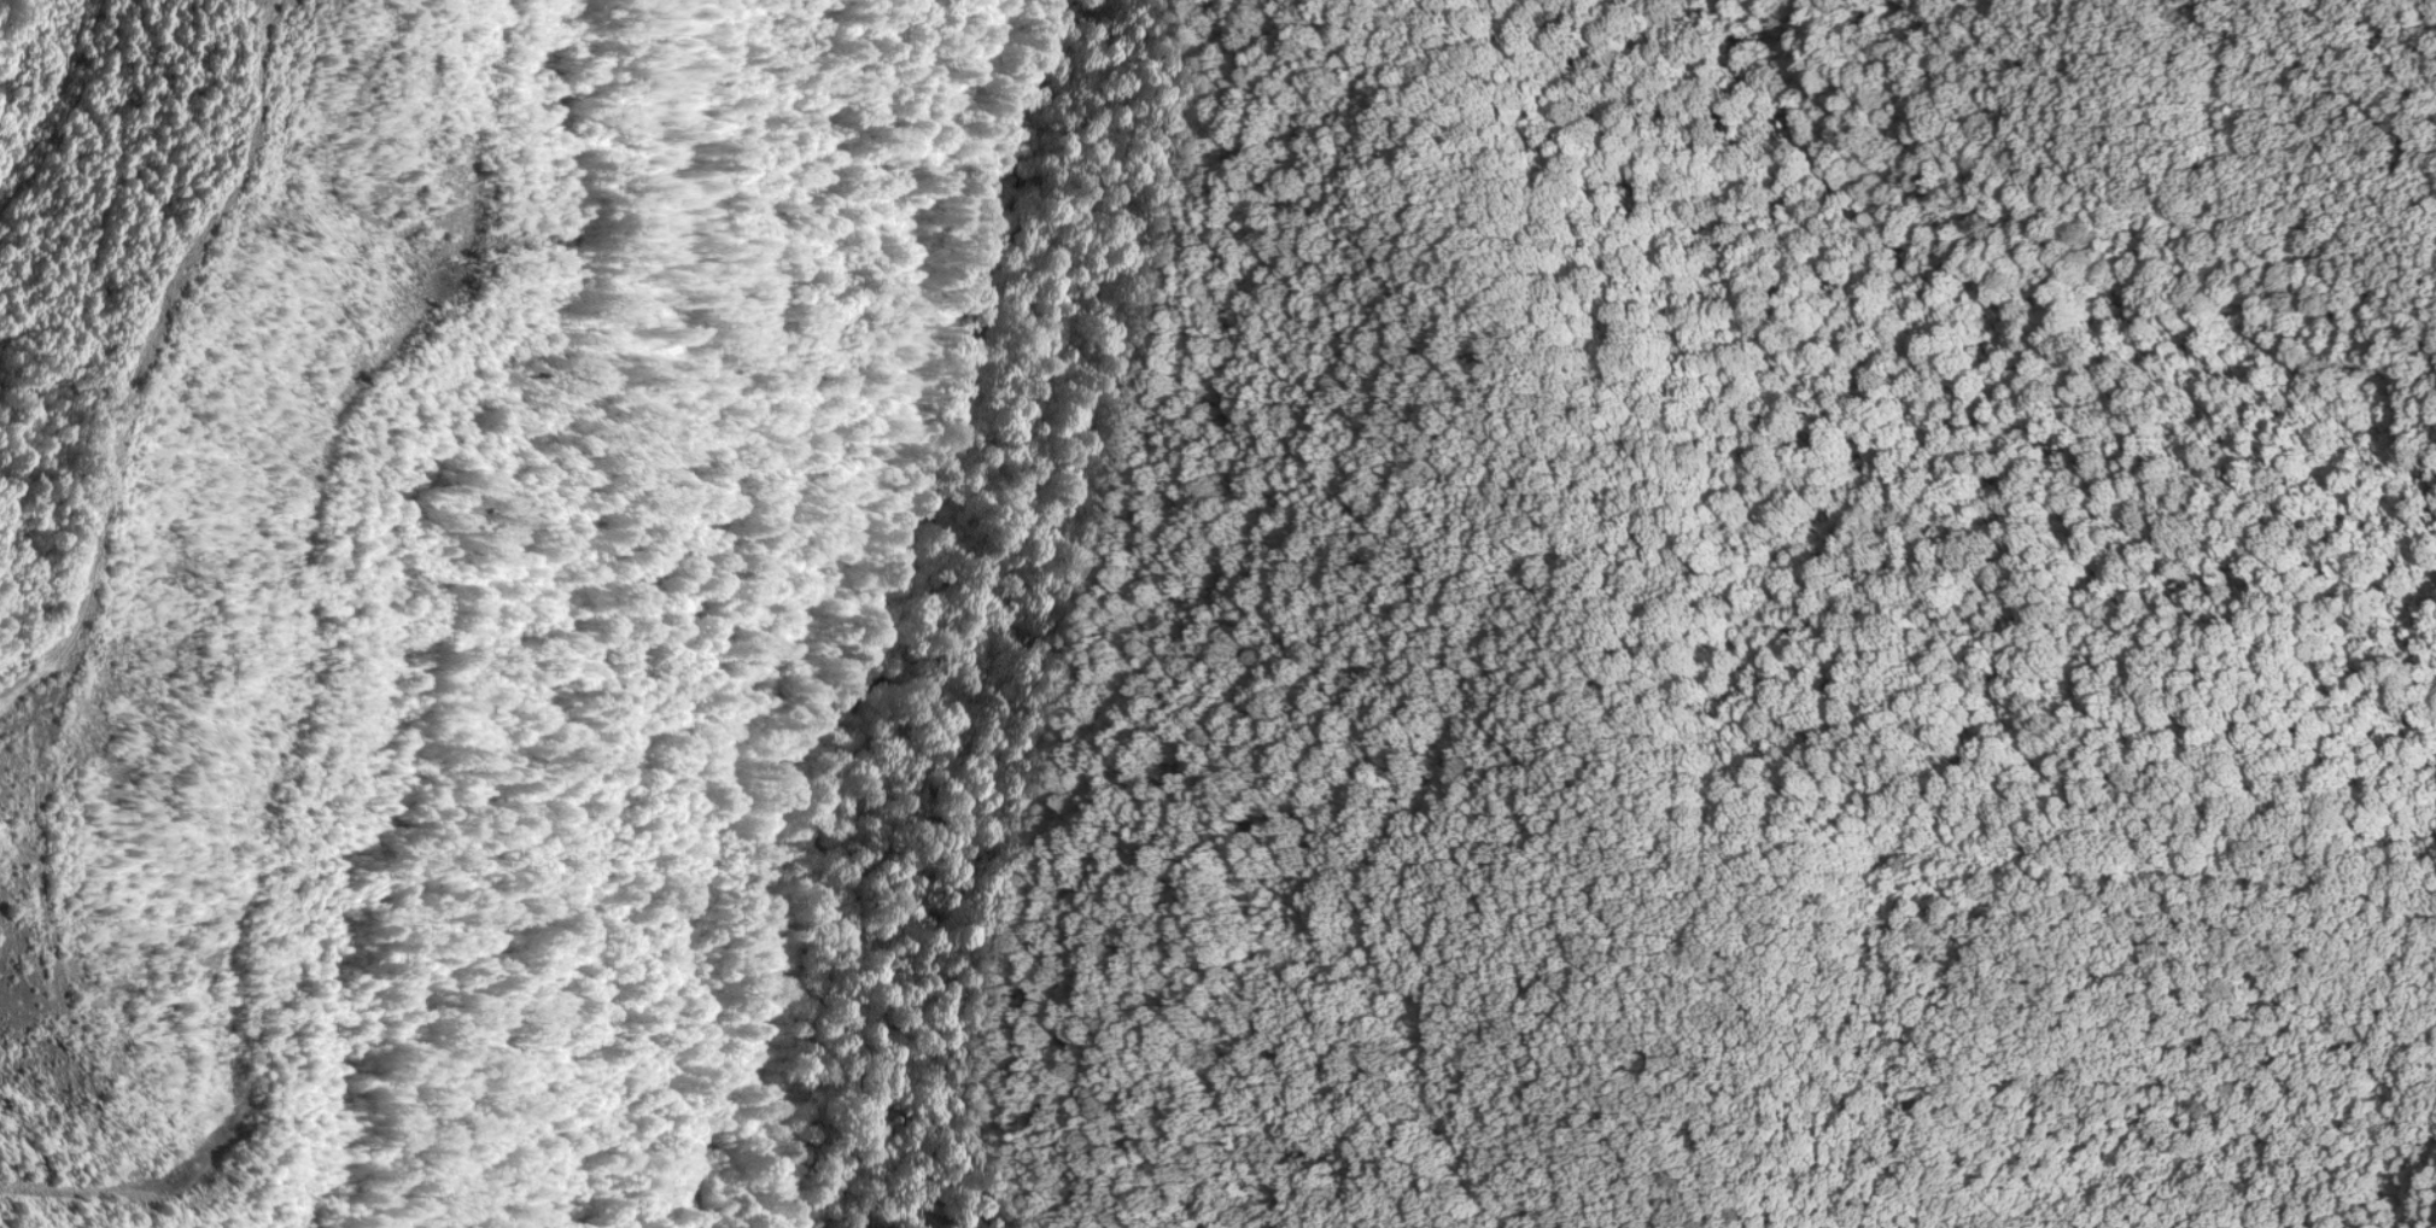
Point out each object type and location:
quarry: (1217, 614)

